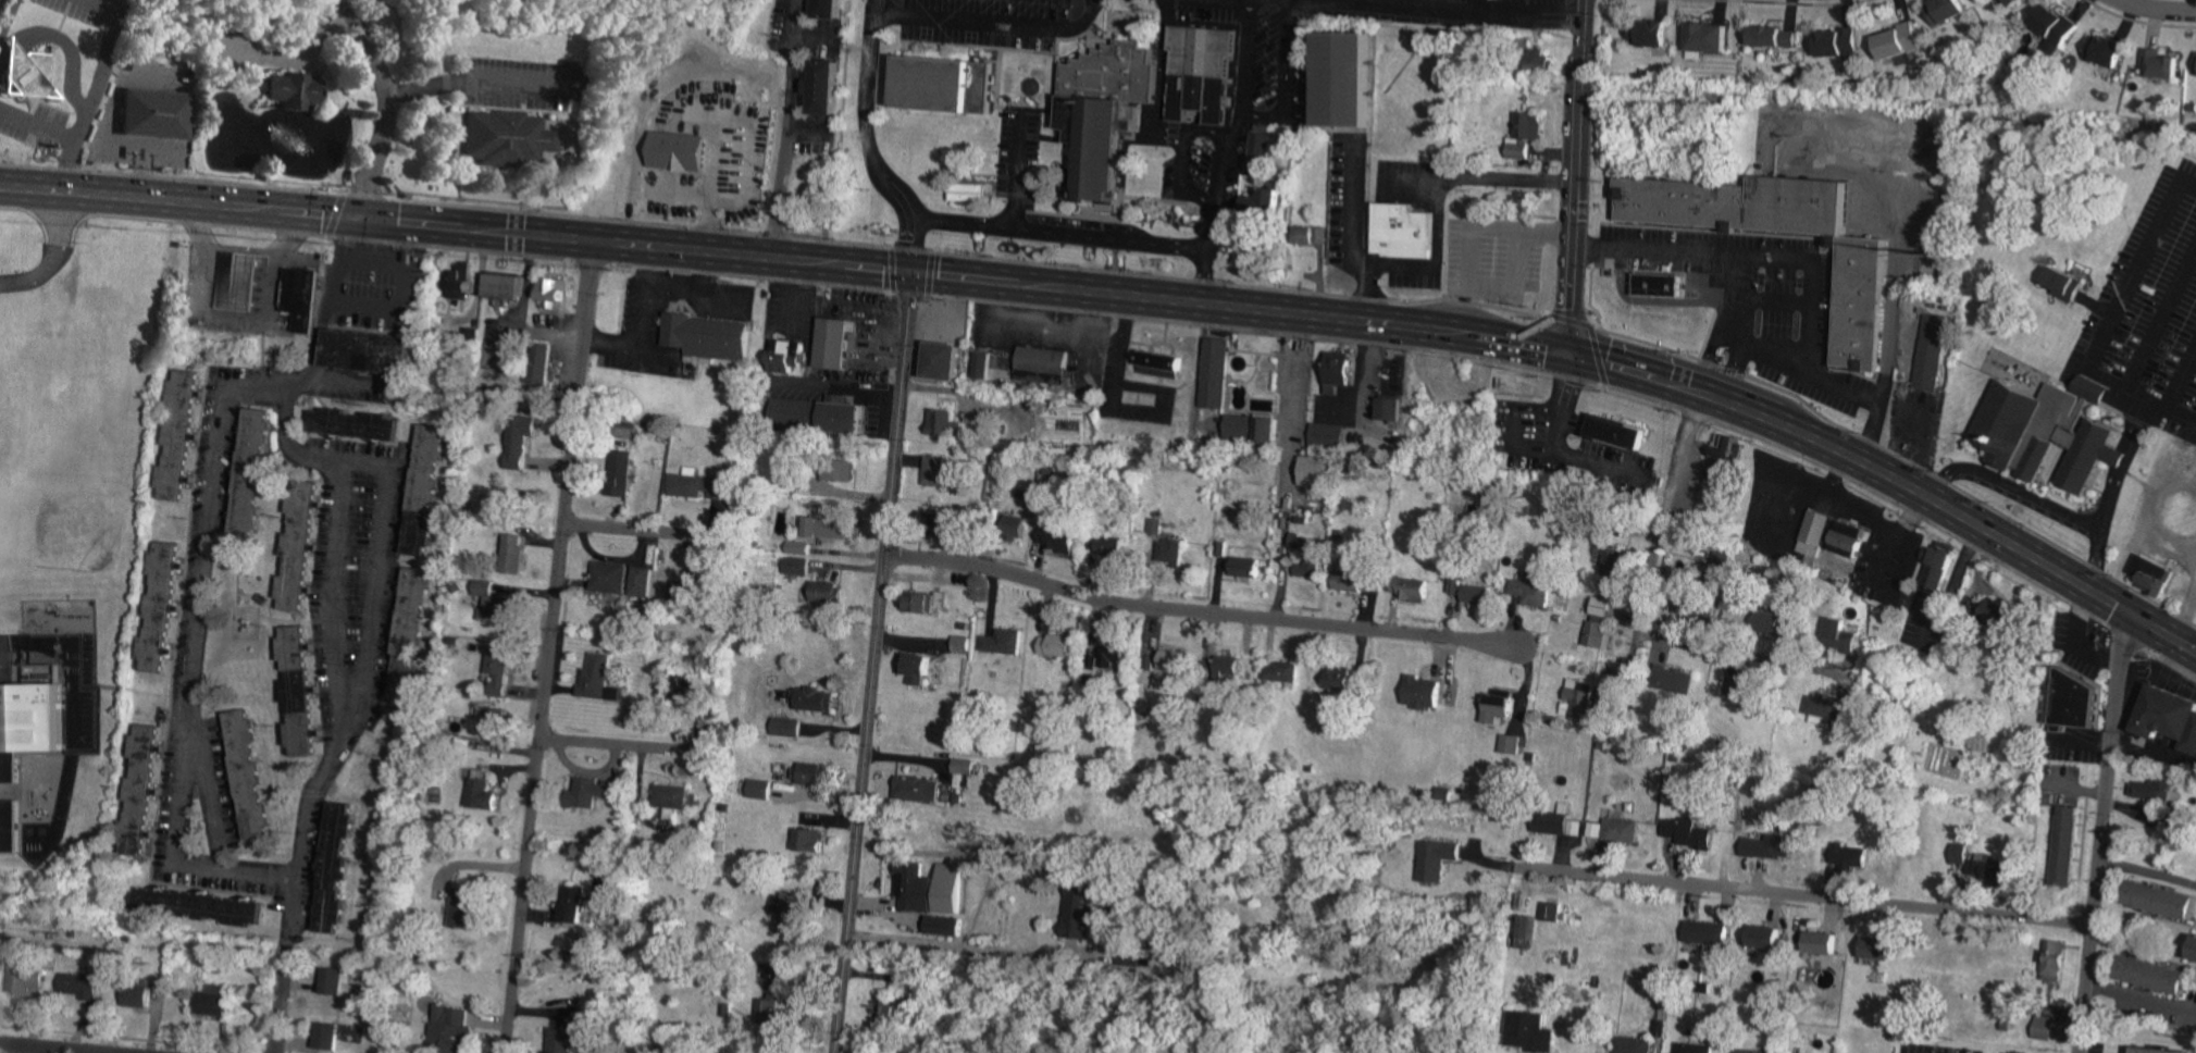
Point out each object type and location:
road: (1180, 0)
building: (2019, 2)
road: (1224, 3)
road: (1410, 5)
road: (1530, 5)
building: (1950, 9)
building: (830, 10)
park: (880, 11)
road: (2156, 11)
road: (4, 12)
park: (968, 17)
road: (995, 25)
building: (2058, 27)
building: (1657, 33)
building: (1779, 36)
building: (1905, 40)
road: (1584, 41)
building: (1835, 42)
road: (64, 44)
building: (2111, 50)
road: (295, 57)
building: (1544, 63)
building: (2164, 63)
road: (1246, 66)
road: (1286, 76)
building: (25, 77)
road: (383, 77)
building: (1117, 77)
building: (1204, 77)
road: (464, 80)
building: (1345, 87)
road: (92, 88)
building: (294, 91)
building: (946, 91)
building: (823, 92)
road: (869, 100)
building: (152, 117)
road: (37, 125)
road: (790, 128)
building: (1527, 134)
fountain: (285, 137)
road: (741, 138)
building: (507, 140)
building: (683, 150)
building: (1097, 150)
road: (1550, 152)
building: (1262, 153)
road: (1184, 161)
road: (1018, 174)
road: (1504, 178)
road: (1220, 187)
road: (364, 188)
road: (724, 194)
road: (364, 196)
building: (968, 197)
road: (138, 199)
building: (1267, 202)
road: (317, 211)
road: (334, 214)
traffic signals: (355, 215)
road: (35, 219)
road: (1578, 219)
road: (60, 220)
road: (411, 220)
road: (1473, 228)
road: (720, 230)
road: (914, 232)
building: (1403, 233)
road: (1353, 235)
road: (1062, 237)
road: (1808, 237)
road: (1437, 244)
road: (650, 245)
road: (1825, 251)
road: (1750, 257)
parking lot: (1494, 259)
road: (390, 264)
road: (872, 269)
road: (892, 270)
road: (932, 273)
road: (37, 274)
traffic signals: (913, 274)
road: (966, 278)
road: (1208, 278)
building: (243, 282)
building: (462, 284)
building: (508, 286)
gas station: (240, 287)
building: (1659, 288)
road: (1113, 293)
building: (2069, 293)
building: (559, 294)
road: (1751, 299)
building: (300, 300)
parking lot: (1753, 300)
road: (1782, 302)
building: (1864, 305)
road: (393, 307)
parking lot: (2150, 307)
road: (323, 311)
road: (1102, 313)
road: (1339, 315)
road: (1571, 320)
road: (2162, 320)
road: (2113, 323)
road: (1893, 327)
building: (710, 340)
road: (1727, 342)
road: (1523, 343)
building: (838, 351)
traffic signals: (1574, 354)
building: (790, 355)
road: (1598, 355)
building: (1934, 355)
building: (368, 357)
building: (1168, 361)
road: (1612, 366)
building: (945, 367)
road: (1711, 370)
road: (1736, 370)
building: (1343, 371)
road: (1808, 371)
building: (1026, 373)
building: (1214, 376)
road: (1567, 381)
road: (2183, 385)
road: (840, 386)
road: (1719, 399)
building: (1394, 409)
road: (1288, 417)
building: (819, 421)
building: (944, 423)
parking lot: (1915, 423)
park: (2187, 429)
building: (1253, 430)
road: (1559, 430)
building: (355, 432)
building: (1613, 432)
building: (2049, 432)
building: (1330, 435)
building: (522, 439)
building: (179, 441)
road: (1901, 456)
building: (1729, 459)
building: (1319, 470)
building: (939, 471)
building: (621, 474)
building: (251, 476)
building: (699, 485)
road: (2013, 486)
building: (424, 494)
road: (2113, 494)
park: (61, 500)
parking lot: (2023, 501)
road: (1664, 512)
road: (2157, 513)
building: (830, 528)
road: (646, 531)
road: (1993, 536)
building: (1173, 538)
building: (1832, 538)
building: (1060, 540)
building: (1109, 547)
building: (299, 552)
building: (514, 554)
building: (1310, 555)
building: (1615, 561)
building: (1250, 566)
building: (1940, 568)
building: (610, 578)
building: (641, 581)
building: (1358, 581)
building: (1419, 589)
building: (1475, 592)
building: (1534, 592)
building: (831, 593)
building: (921, 603)
building: (496, 604)
building: (1602, 606)
building: (1702, 609)
building: (160, 612)
road: (1198, 612)
building: (2001, 615)
traffic signals: (2129, 615)
road: (2185, 621)
building: (1773, 623)
building: (1600, 635)
building: (1847, 635)
building: (408, 636)
building: (1006, 642)
building: (963, 644)
road: (548, 645)
building: (1057, 645)
road: (2151, 653)
building: (1114, 654)
road: (1741, 655)
road: (69, 658)
road: (194, 659)
building: (1174, 659)
road: (873, 664)
building: (1231, 666)
building: (919, 667)
building: (501, 671)
building: (1281, 671)
building: (599, 677)
road: (1625, 677)
building: (1345, 679)
building: (1683, 681)
building: (688, 690)
building: (1751, 690)
building: (1426, 692)
building: (299, 697)
building: (1584, 697)
road: (2195, 698)
building: (817, 699)
road: (346, 702)
building: (2076, 706)
building: (1826, 709)
building: (2170, 719)
building: (495, 721)
building: (789, 727)
building: (22, 739)
building: (1513, 744)
road: (621, 745)
road: (2154, 755)
building: (966, 766)
building: (811, 773)
building: (248, 779)
building: (761, 789)
building: (920, 789)
building: (2155, 790)
building: (595, 791)
building: (484, 792)
building: (138, 793)
building: (673, 796)
building: (1561, 821)
building: (2178, 826)
building: (1596, 830)
building: (1624, 830)
building: (1691, 833)
road: (2100, 833)
building: (811, 840)
building: (2063, 841)
building: (1772, 847)
building: (1852, 857)
building: (1440, 859)
building: (1985, 863)
building: (334, 871)
road: (2147, 871)
building: (935, 889)
road: (1802, 896)
building: (2161, 900)
building: (574, 904)
building: (466, 909)
building: (198, 910)
building: (1082, 912)
building: (1552, 912)
building: (792, 913)
building: (1526, 931)
building: (1712, 933)
building: (1767, 937)
building: (1826, 943)
road: (952, 946)
building: (1883, 949)
building: (2194, 949)
building: (2056, 962)
building: (25, 976)
building: (2154, 976)
building: (335, 979)
building: (918, 982)
building: (79, 984)
building: (139, 993)
road: (2141, 998)
building: (211, 1001)
road: (294, 1002)
parking lot: (2143, 1002)
building: (889, 1011)
building: (776, 1013)
building: (732, 1014)
building: (564, 1020)
building: (451, 1027)
building: (2046, 1028)
building: (1531, 1031)
building: (327, 1035)
road: (131, 1039)
building: (562, 1040)
building: (1693, 1048)
road: (27, 1050)
building: (2152, 1051)

